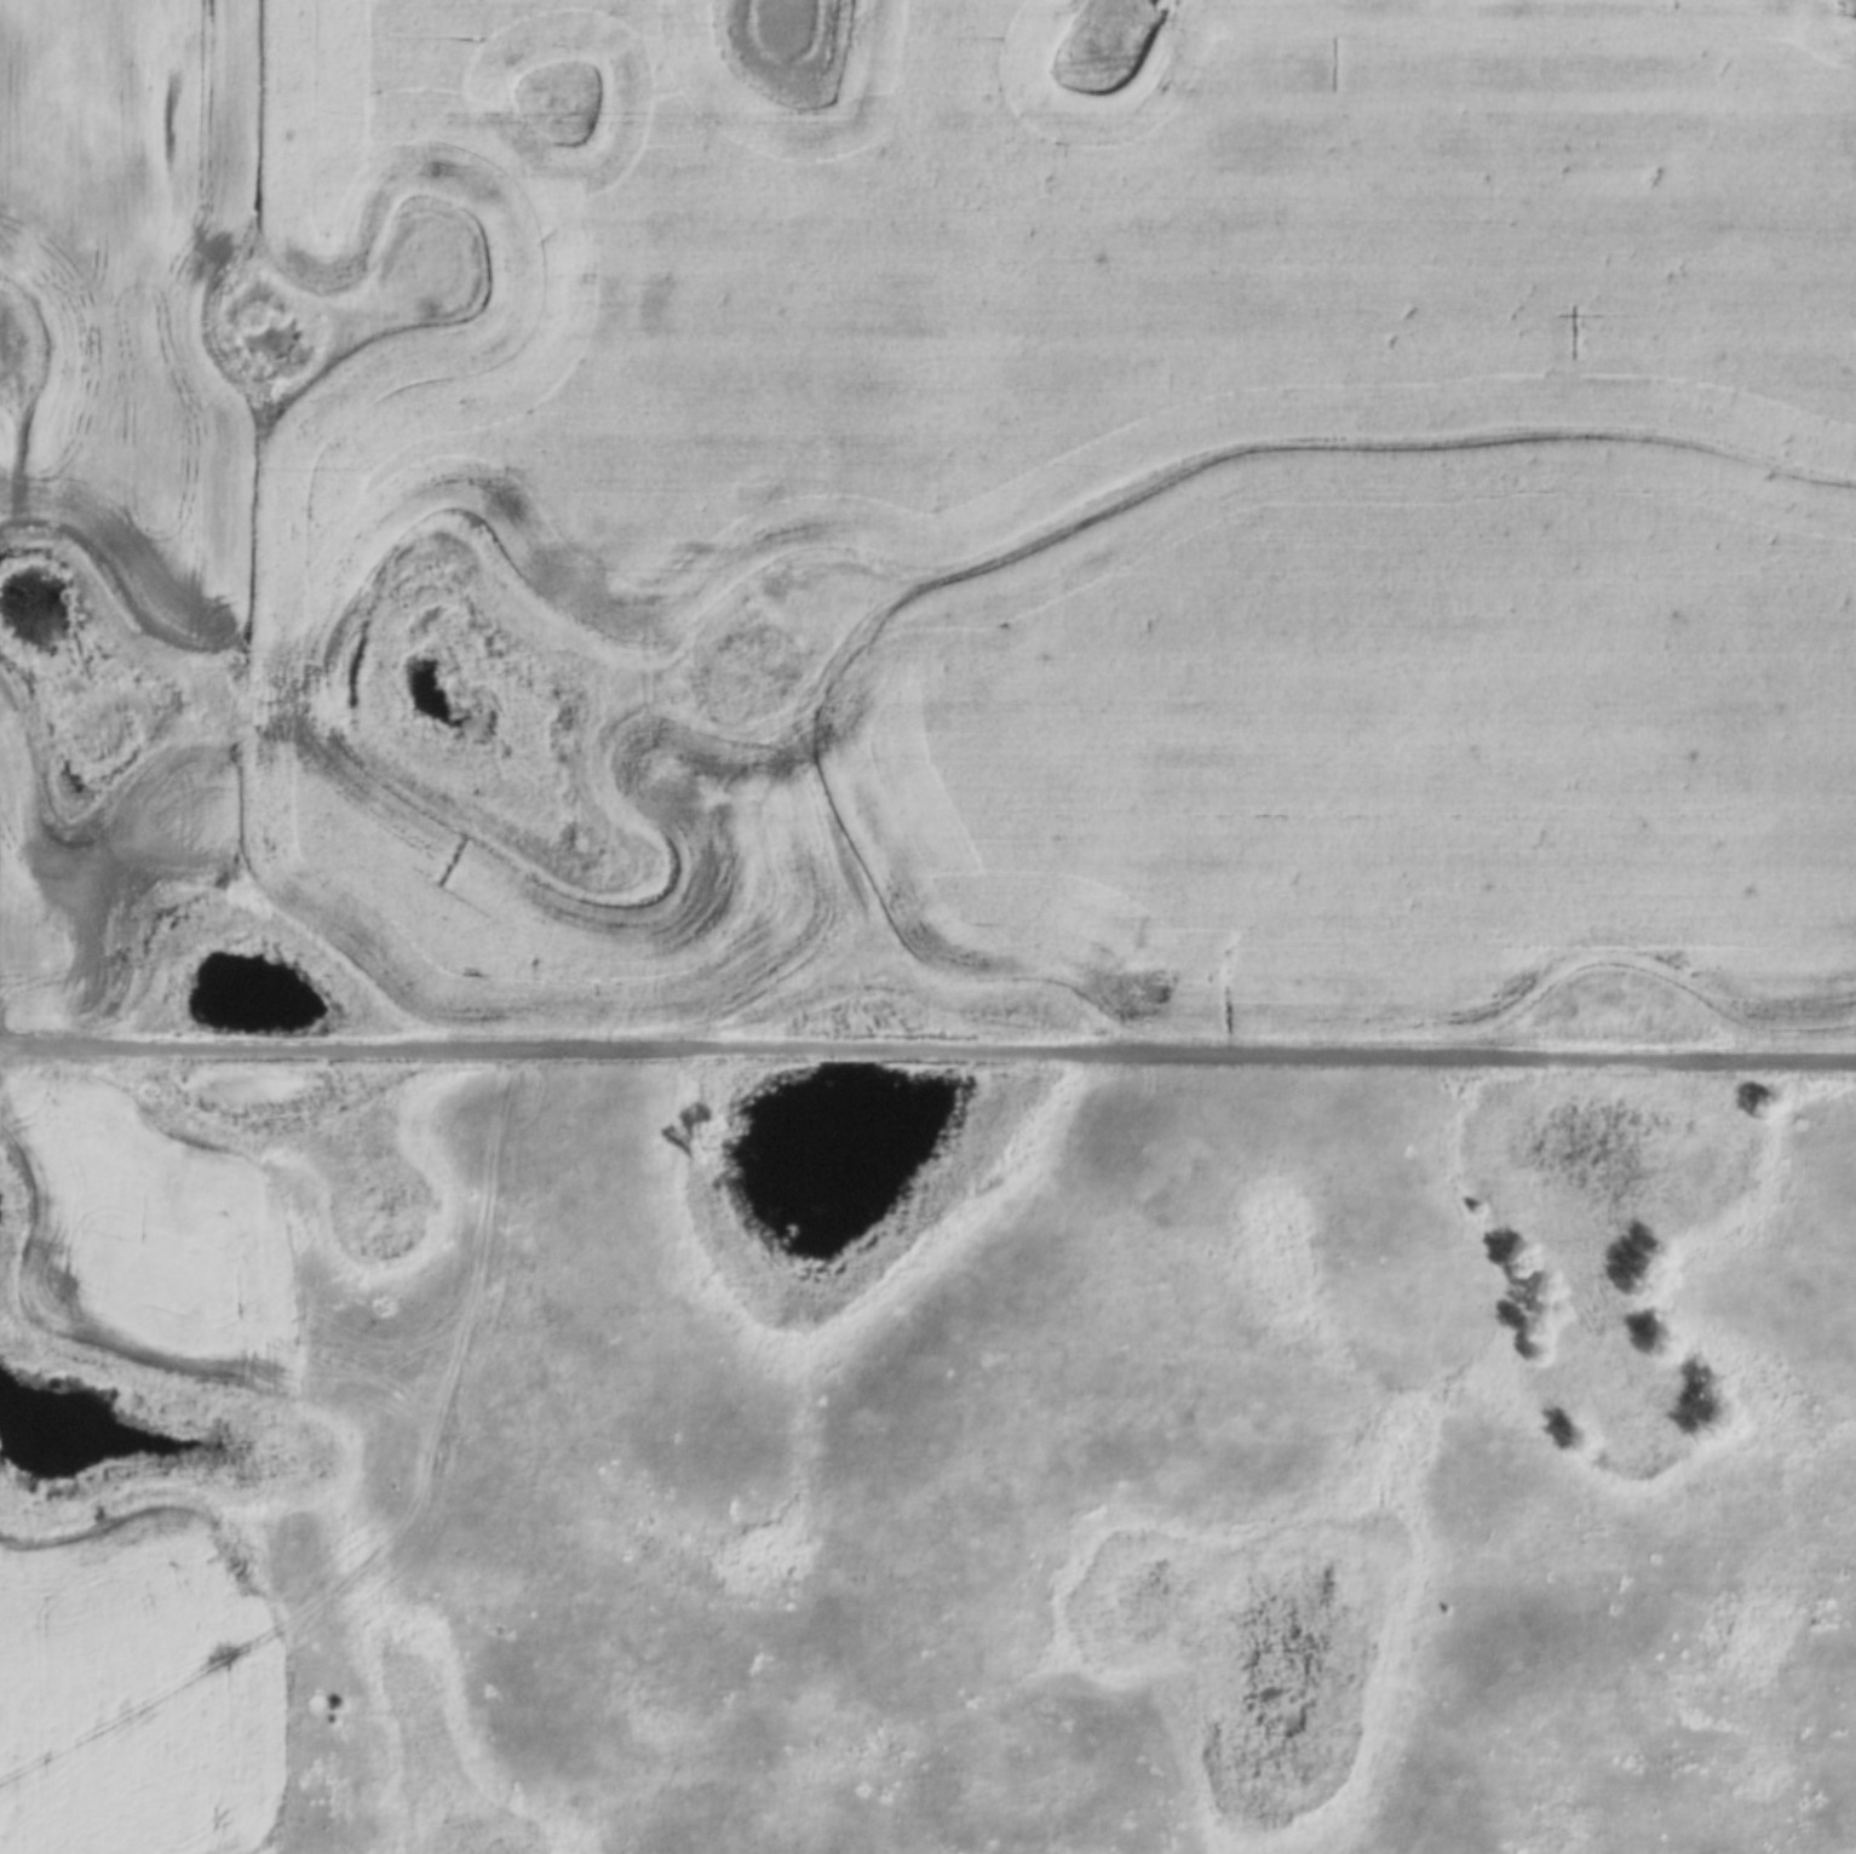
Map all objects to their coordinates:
road: (927, 1057)

